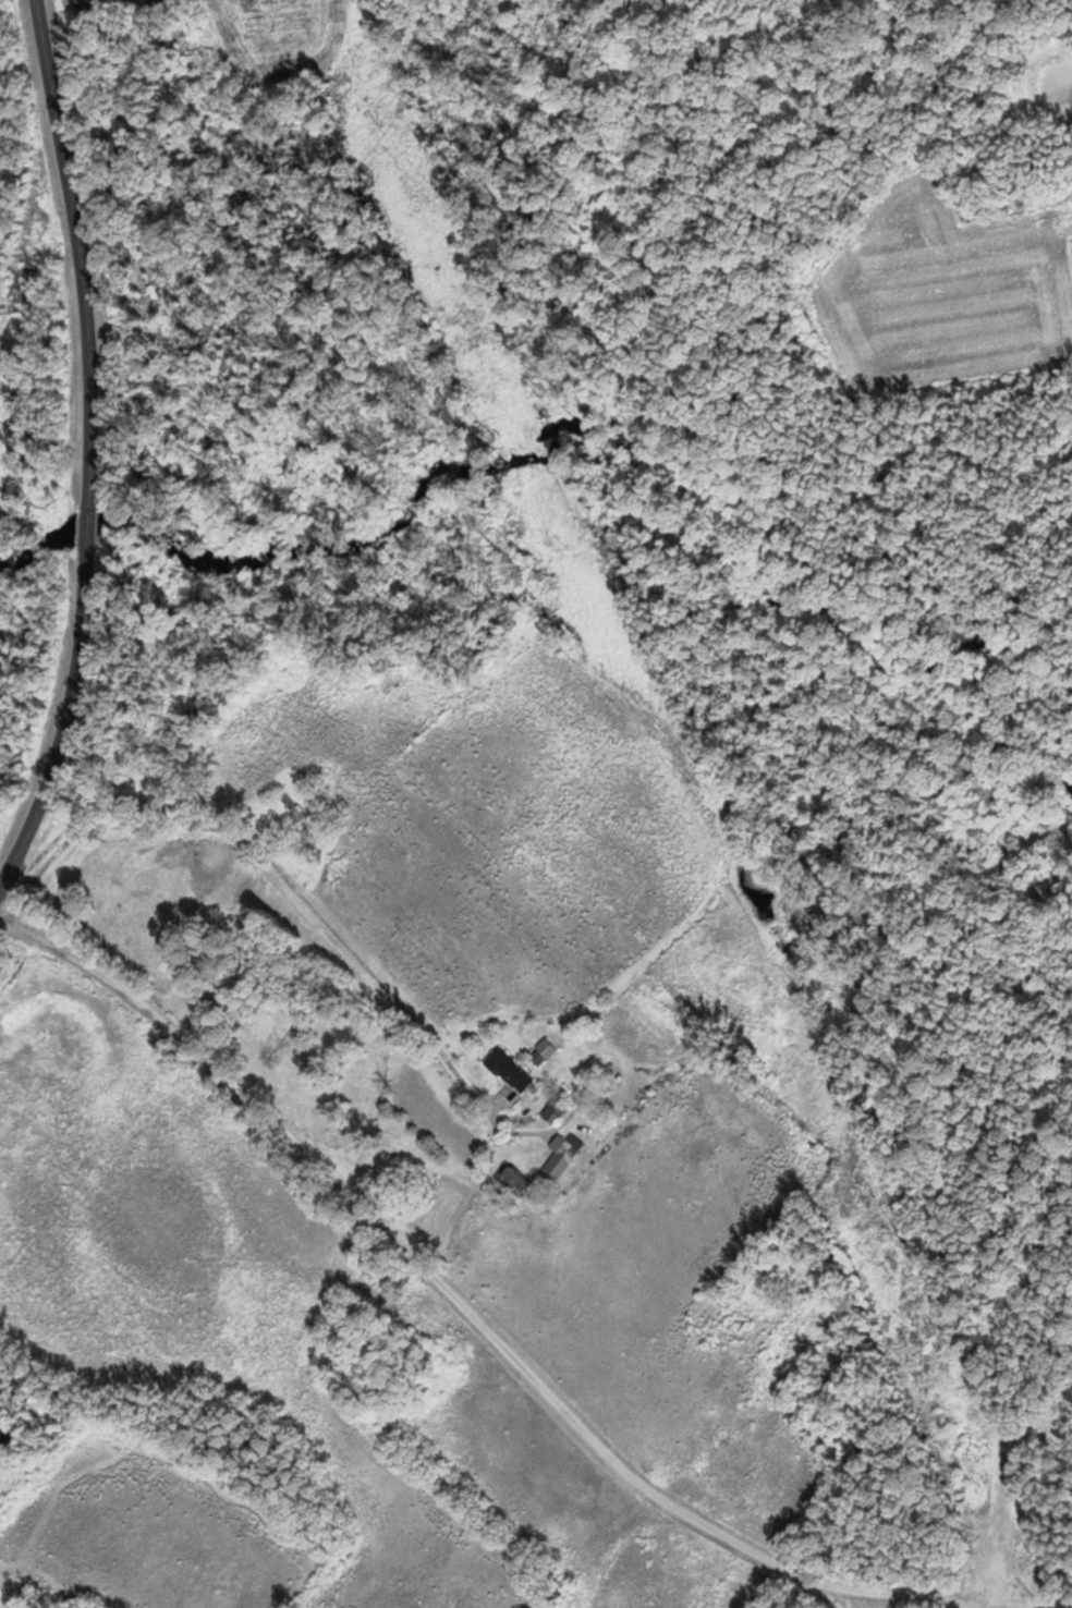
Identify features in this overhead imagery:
road: (84, 254)
road: (87, 532)
road: (69, 728)
building: (292, 808)
road: (293, 896)
building: (545, 1048)
building: (508, 1070)
building: (552, 1110)
building: (559, 1156)
road: (462, 1302)
road: (45, 1576)

